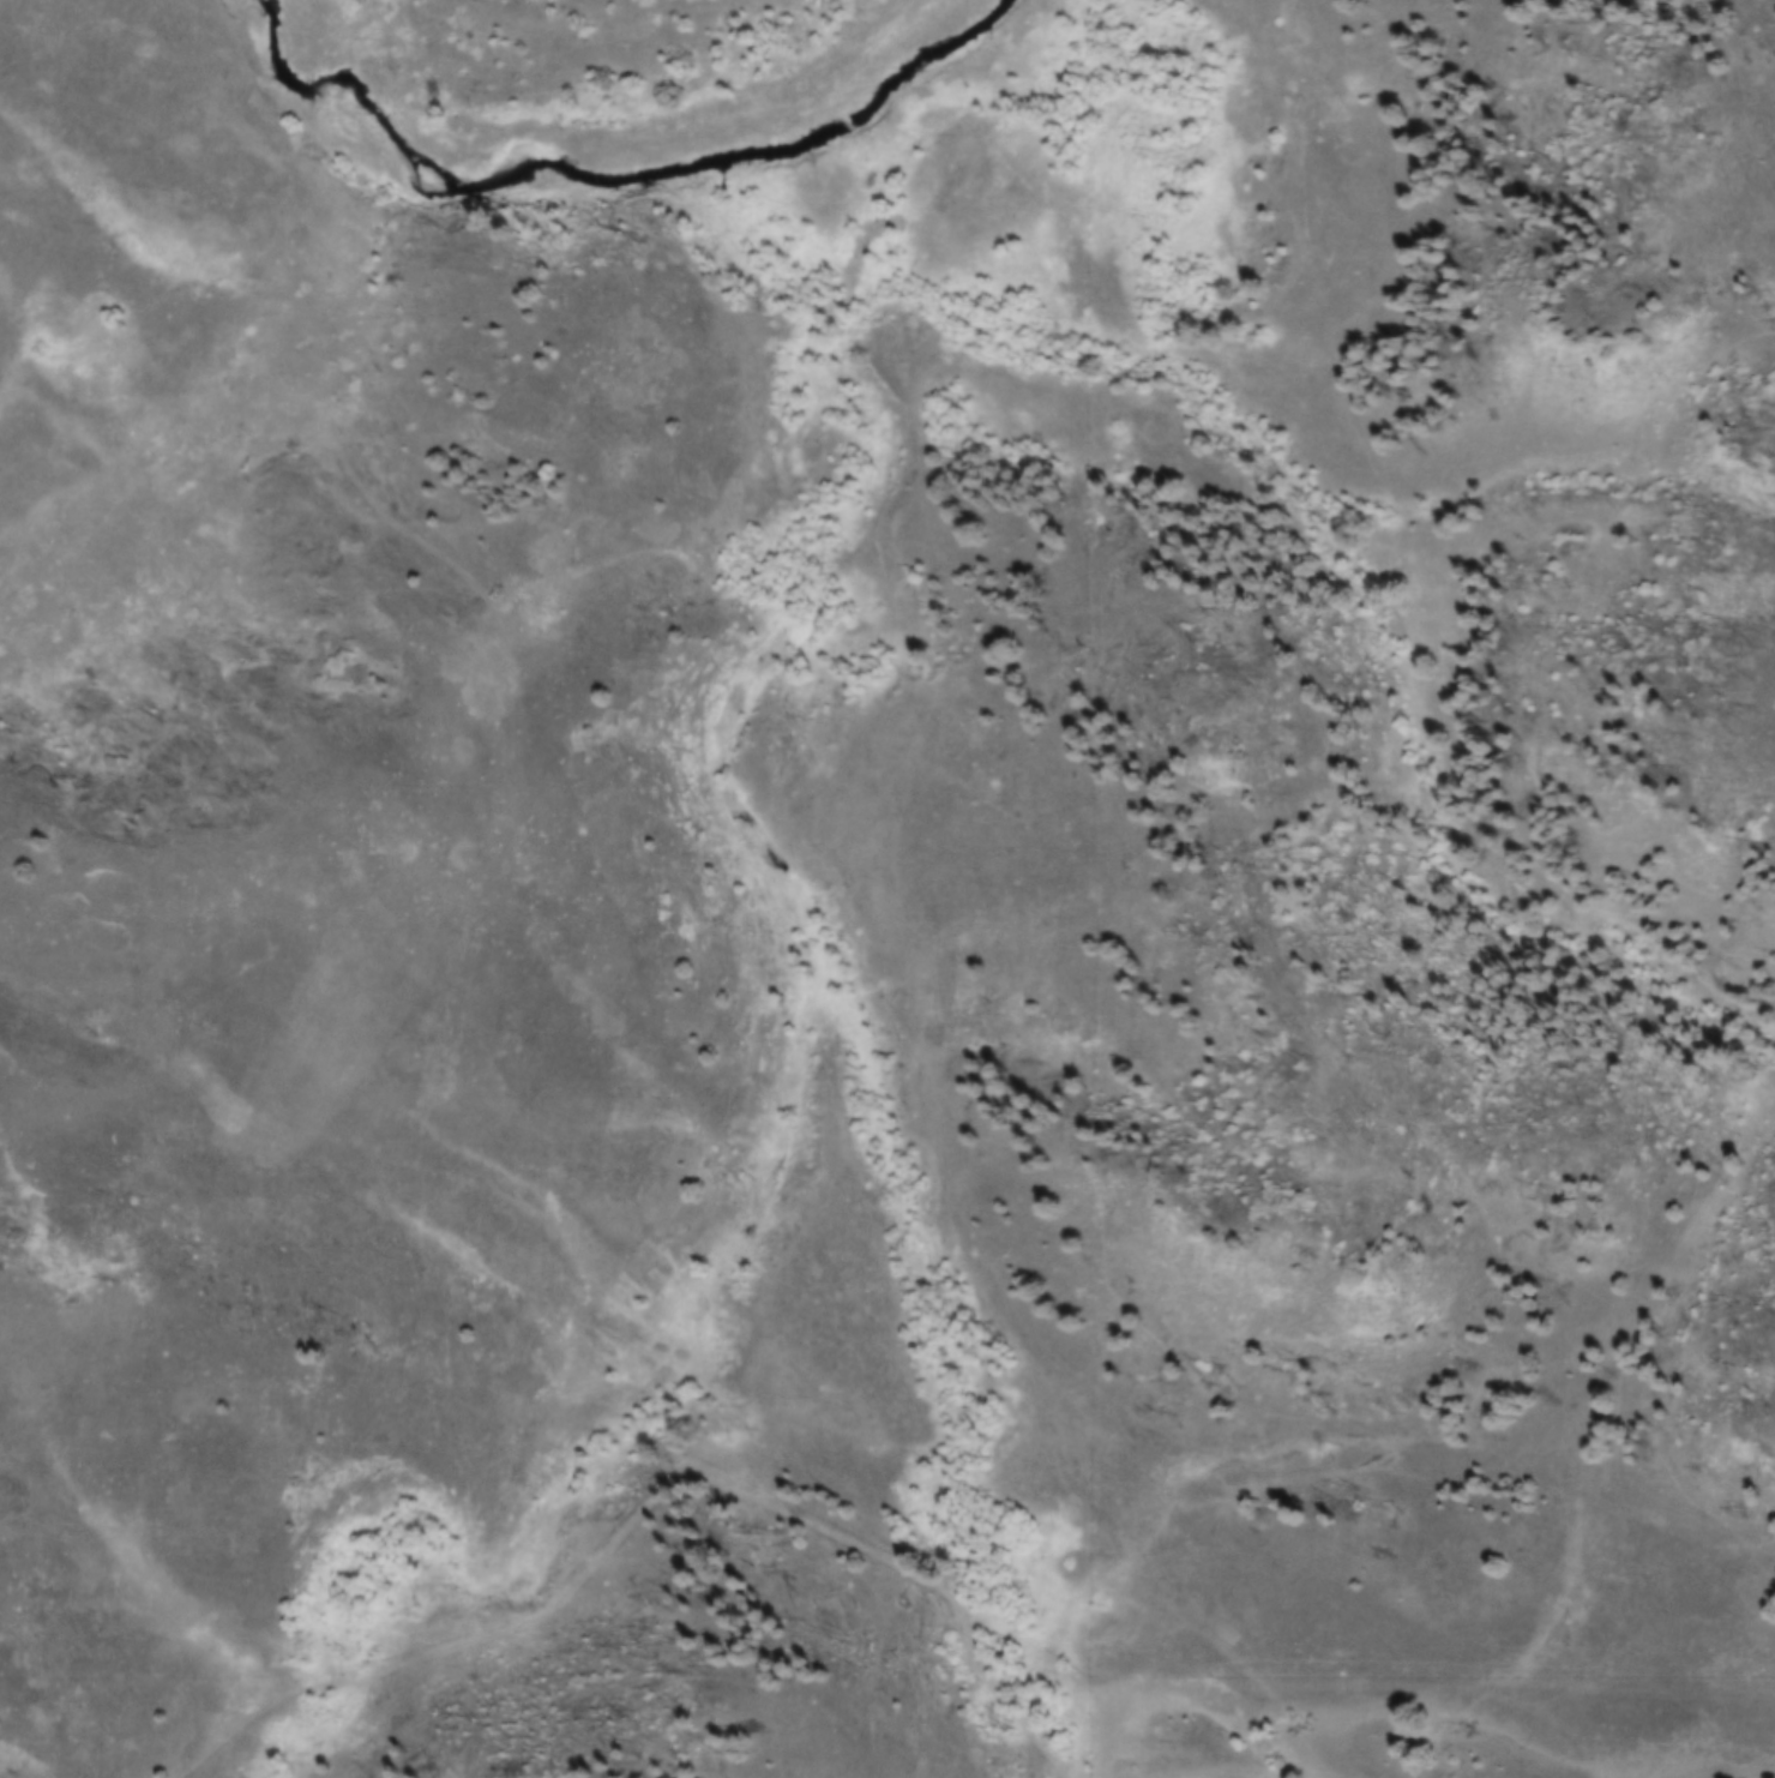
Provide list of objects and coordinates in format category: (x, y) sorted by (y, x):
river: (595, 180)

